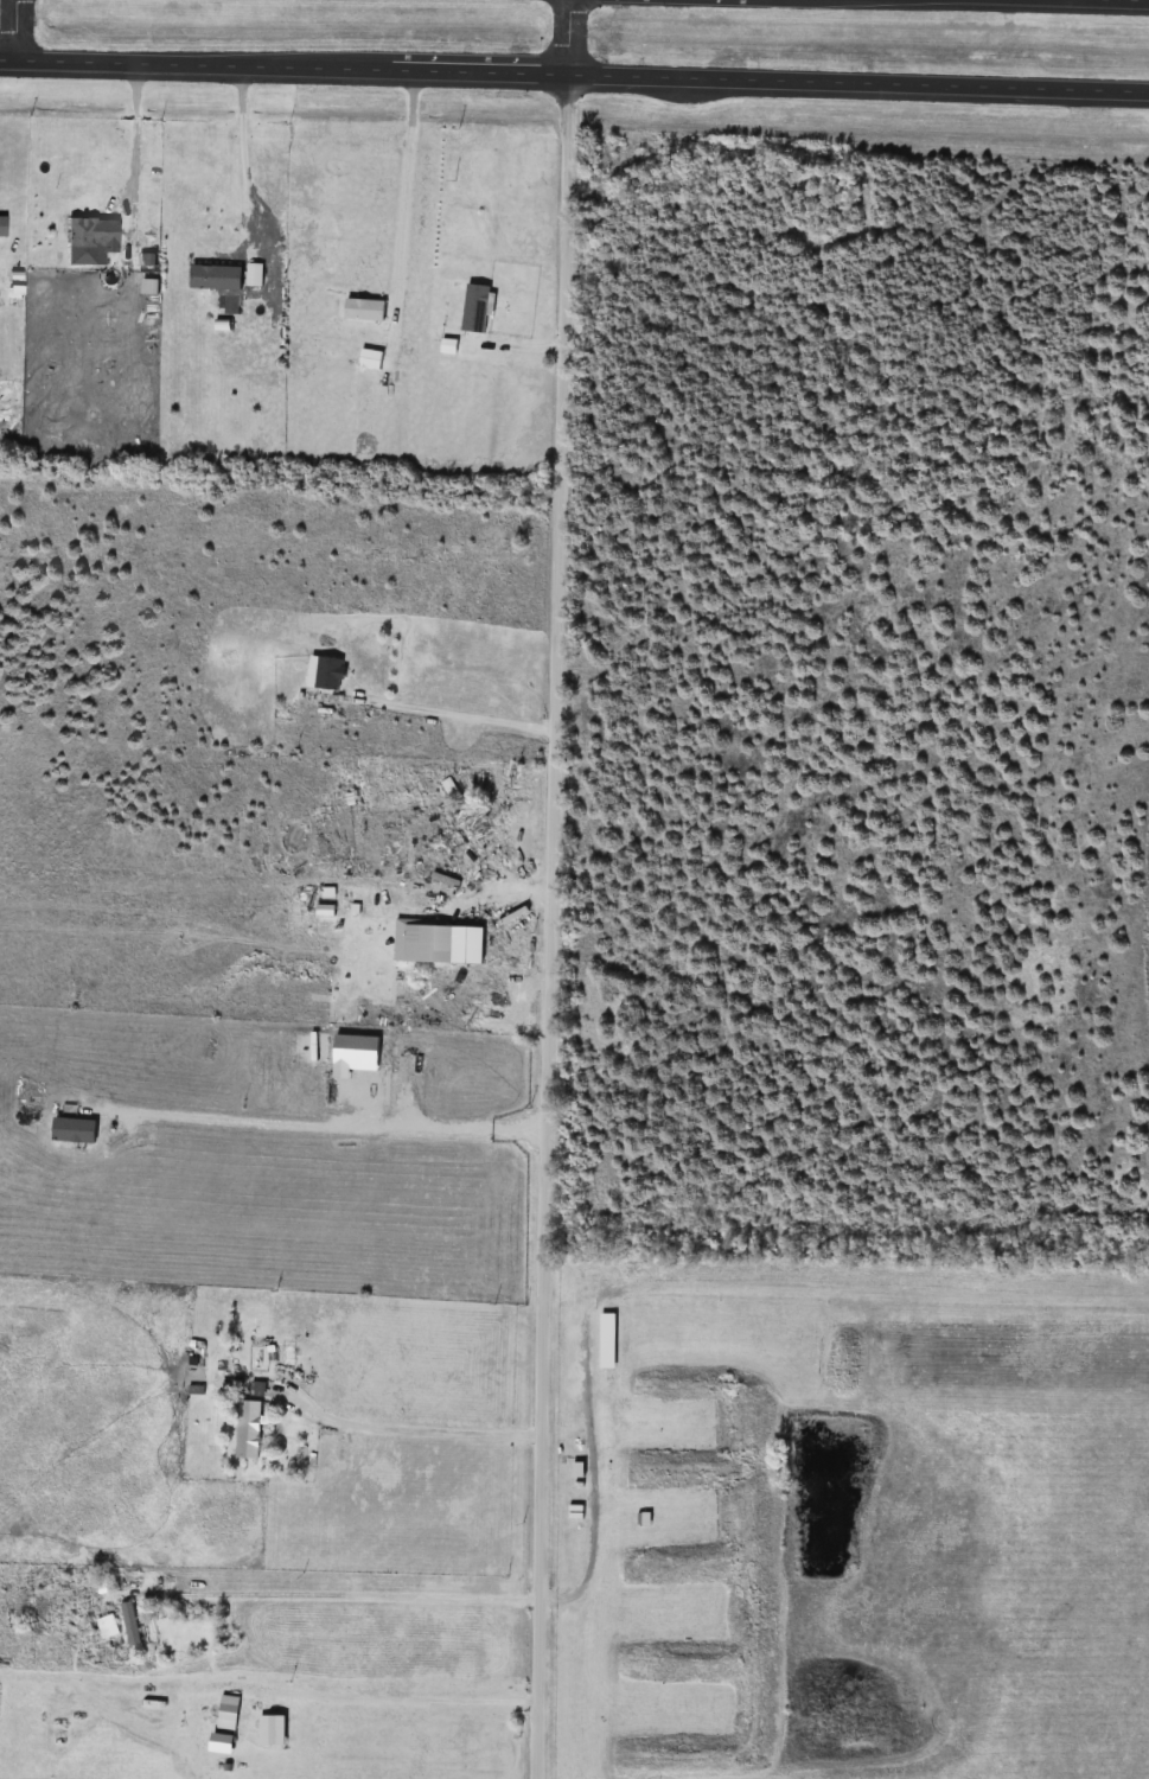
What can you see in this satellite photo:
road: (1123, 0)
road: (15, 33)
road: (574, 78)
road: (140, 138)
road: (251, 159)
road: (409, 186)
building: (89, 235)
building: (484, 308)
building: (371, 312)
building: (376, 361)
building: (331, 675)
road: (461, 710)
building: (477, 830)
road: (556, 888)
building: (477, 946)
road: (332, 1127)
building: (614, 1343)
road: (415, 1418)
building: (255, 1430)
road: (592, 1440)
building: (583, 1471)
building: (649, 1519)
road: (346, 1580)
road: (411, 1688)

